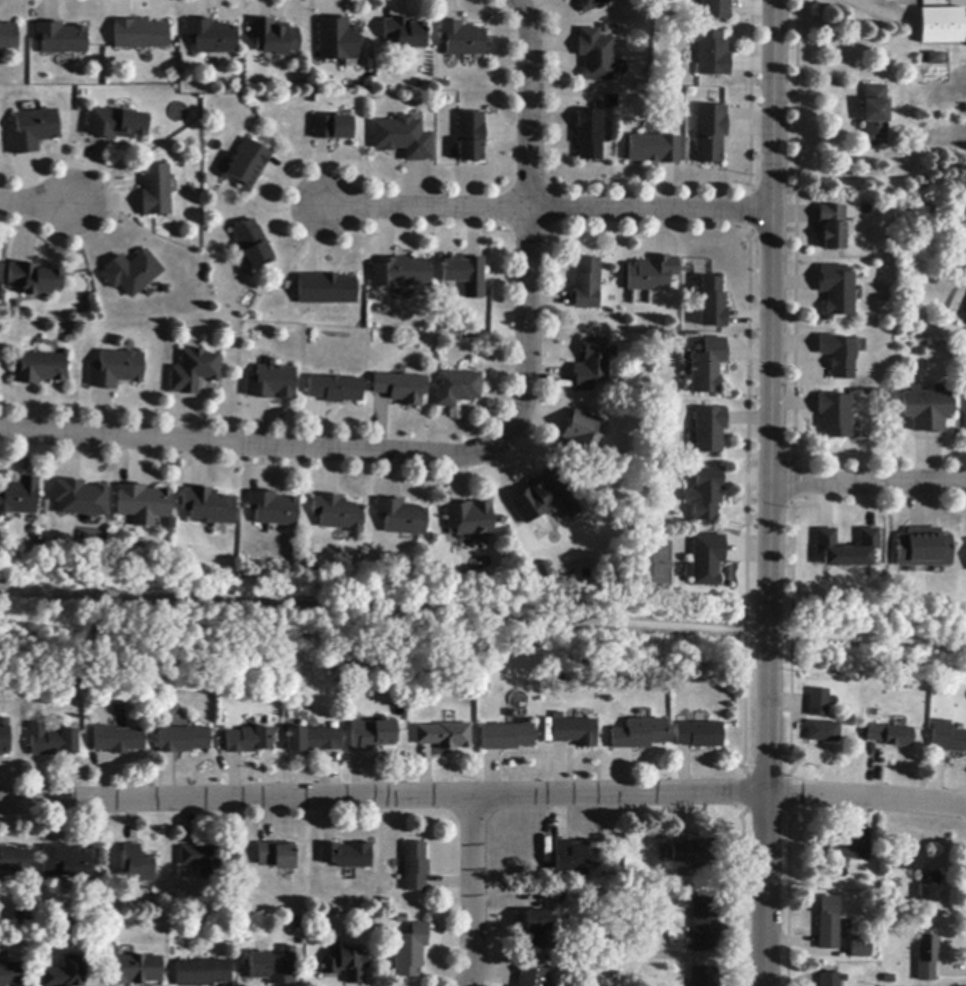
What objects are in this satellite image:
building: (590, 5)
building: (715, 9)
building: (942, 26)
building: (404, 33)
building: (140, 35)
building: (8, 37)
building: (211, 37)
building: (274, 38)
building: (60, 39)
building: (461, 39)
building: (338, 40)
building: (711, 54)
building: (595, 55)
building: (932, 59)
building: (874, 115)
building: (114, 124)
building: (331, 128)
building: (33, 131)
building: (709, 134)
building: (588, 135)
building: (470, 137)
building: (403, 138)
building: (653, 149)
building: (248, 165)
road: (527, 165)
building: (155, 191)
road: (36, 203)
road: (546, 207)
building: (832, 227)
building: (252, 244)
building: (462, 270)
building: (131, 273)
building: (400, 273)
building: (652, 275)
building: (33, 279)
building: (587, 284)
building: (325, 290)
building: (837, 291)
building: (711, 304)
building: (964, 318)
building: (837, 355)
building: (592, 364)
building: (707, 366)
building: (39, 369)
building: (115, 369)
building: (193, 371)
building: (271, 383)
building: (400, 388)
building: (458, 388)
building: (334, 389)
building: (926, 409)
building: (833, 416)
building: (708, 429)
building: (581, 437)
road: (310, 451)
road: (868, 483)
road: (770, 493)
building: (705, 495)
building: (19, 497)
building: (79, 498)
building: (539, 498)
building: (143, 504)
building: (208, 507)
building: (273, 509)
building: (337, 514)
building: (401, 517)
building: (470, 521)
building: (846, 549)
building: (923, 549)
building: (706, 559)
building: (538, 570)
building: (577, 573)
road: (483, 616)
building: (818, 703)
building: (574, 732)
building: (822, 732)
building: (638, 734)
building: (372, 735)
building: (698, 735)
building: (890, 735)
building: (444, 736)
building: (4, 737)
building: (506, 737)
building: (947, 738)
building: (117, 740)
building: (182, 740)
building: (313, 740)
building: (248, 741)
building: (51, 742)
road: (483, 796)
building: (844, 849)
building: (695, 852)
building: (276, 856)
building: (345, 856)
building: (569, 858)
building: (13, 861)
building: (200, 861)
building: (65, 862)
building: (912, 862)
building: (136, 863)
building: (414, 867)
building: (929, 887)
road: (469, 892)
building: (828, 923)
building: (705, 924)
building: (533, 930)
building: (860, 948)
building: (409, 952)
building: (927, 958)
building: (346, 964)
building: (273, 967)
building: (133, 970)
building: (65, 973)
building: (202, 973)
building: (11, 975)
building: (531, 977)
building: (704, 977)
building: (831, 979)

